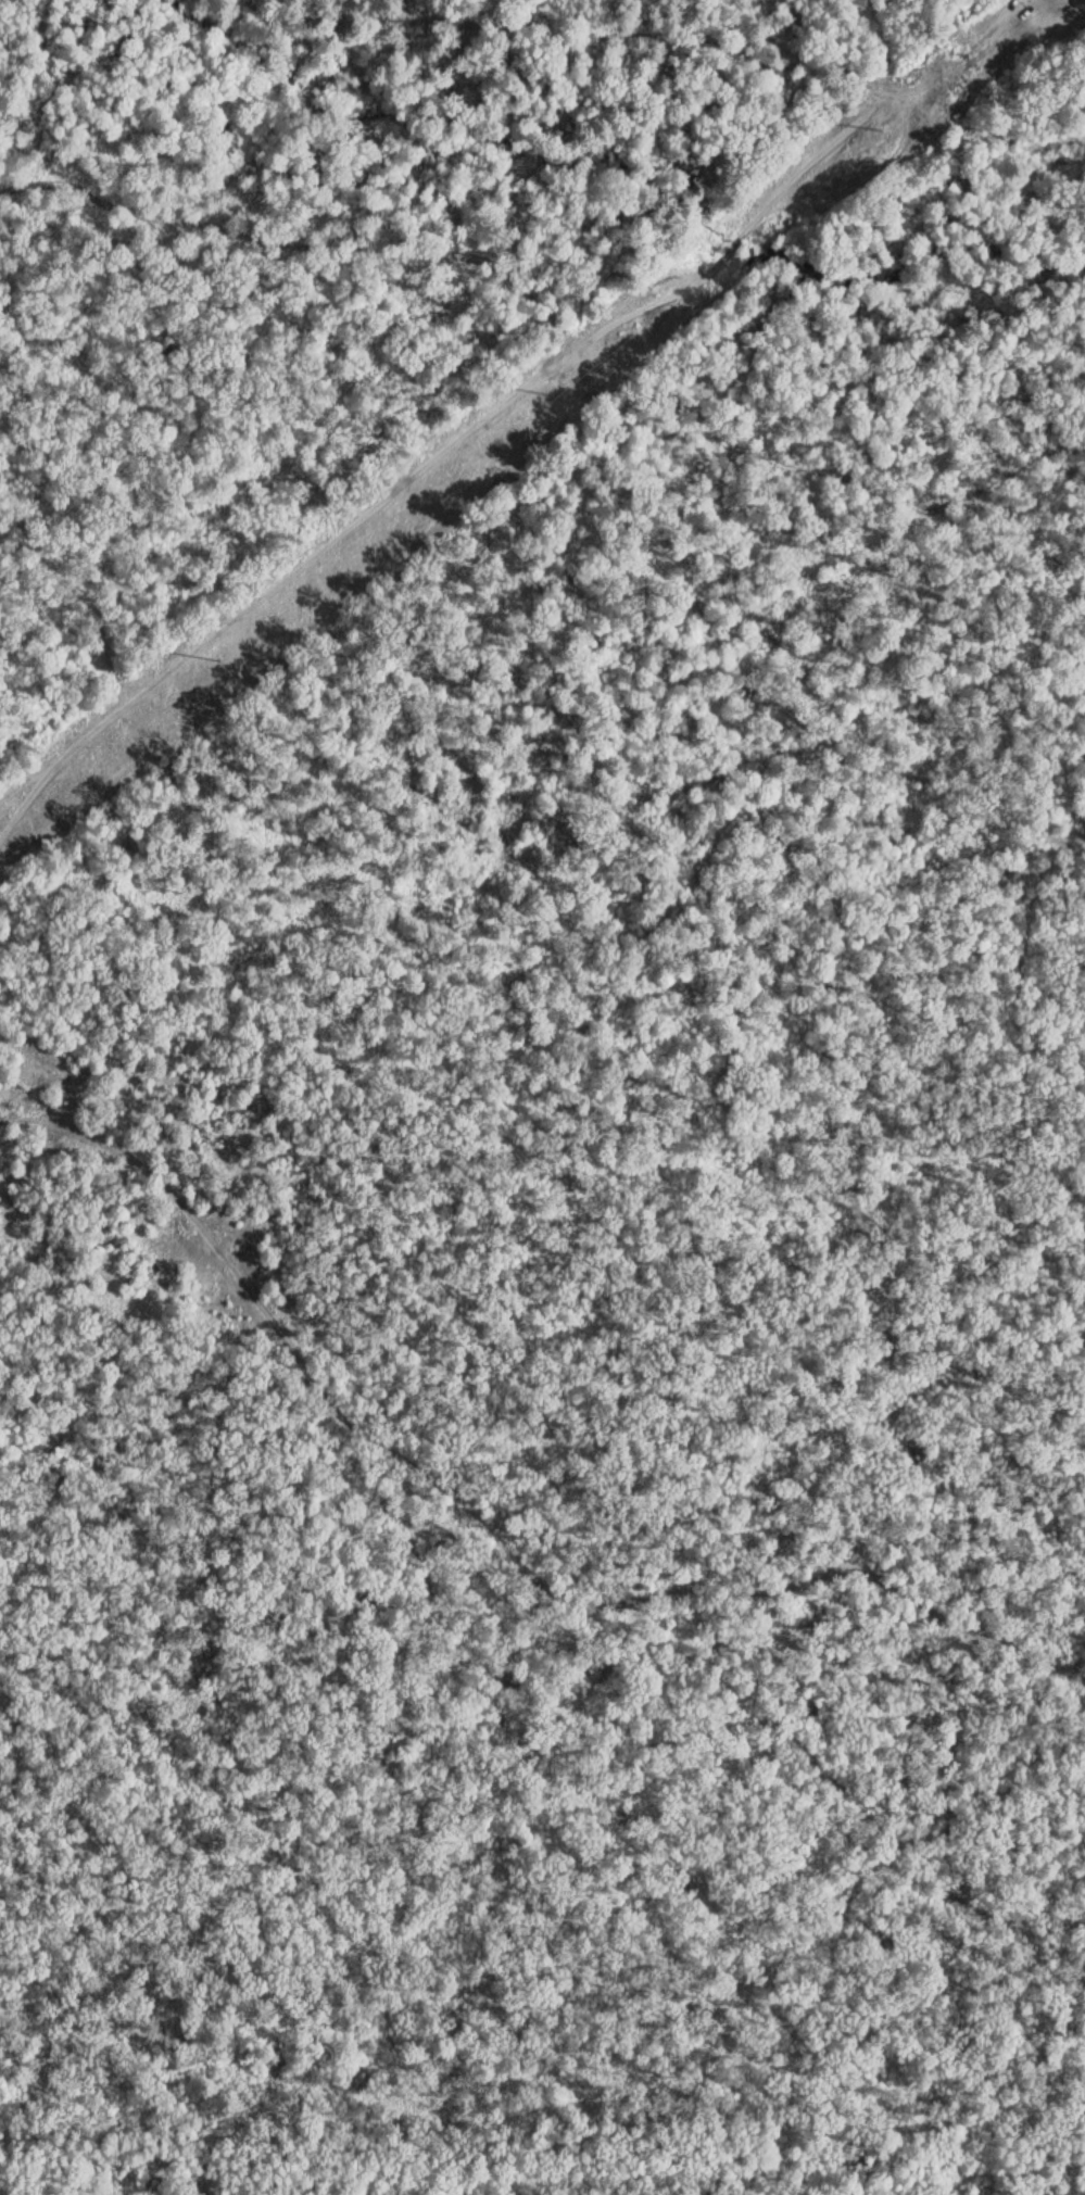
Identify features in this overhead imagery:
road: (956, 16)
road: (54, 2194)

